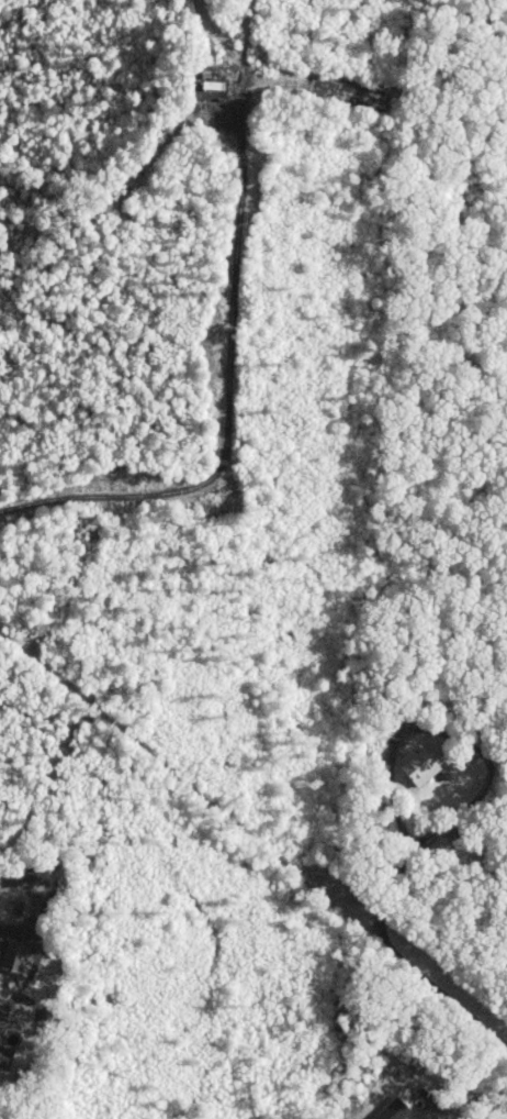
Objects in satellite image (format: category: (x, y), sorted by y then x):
road: (230, 405)
road: (453, 733)
building: (420, 765)
building: (14, 953)
road: (407, 963)
road: (29, 1000)
road: (9, 1001)
building: (9, 1057)
road: (462, 1101)
building: (397, 1109)

